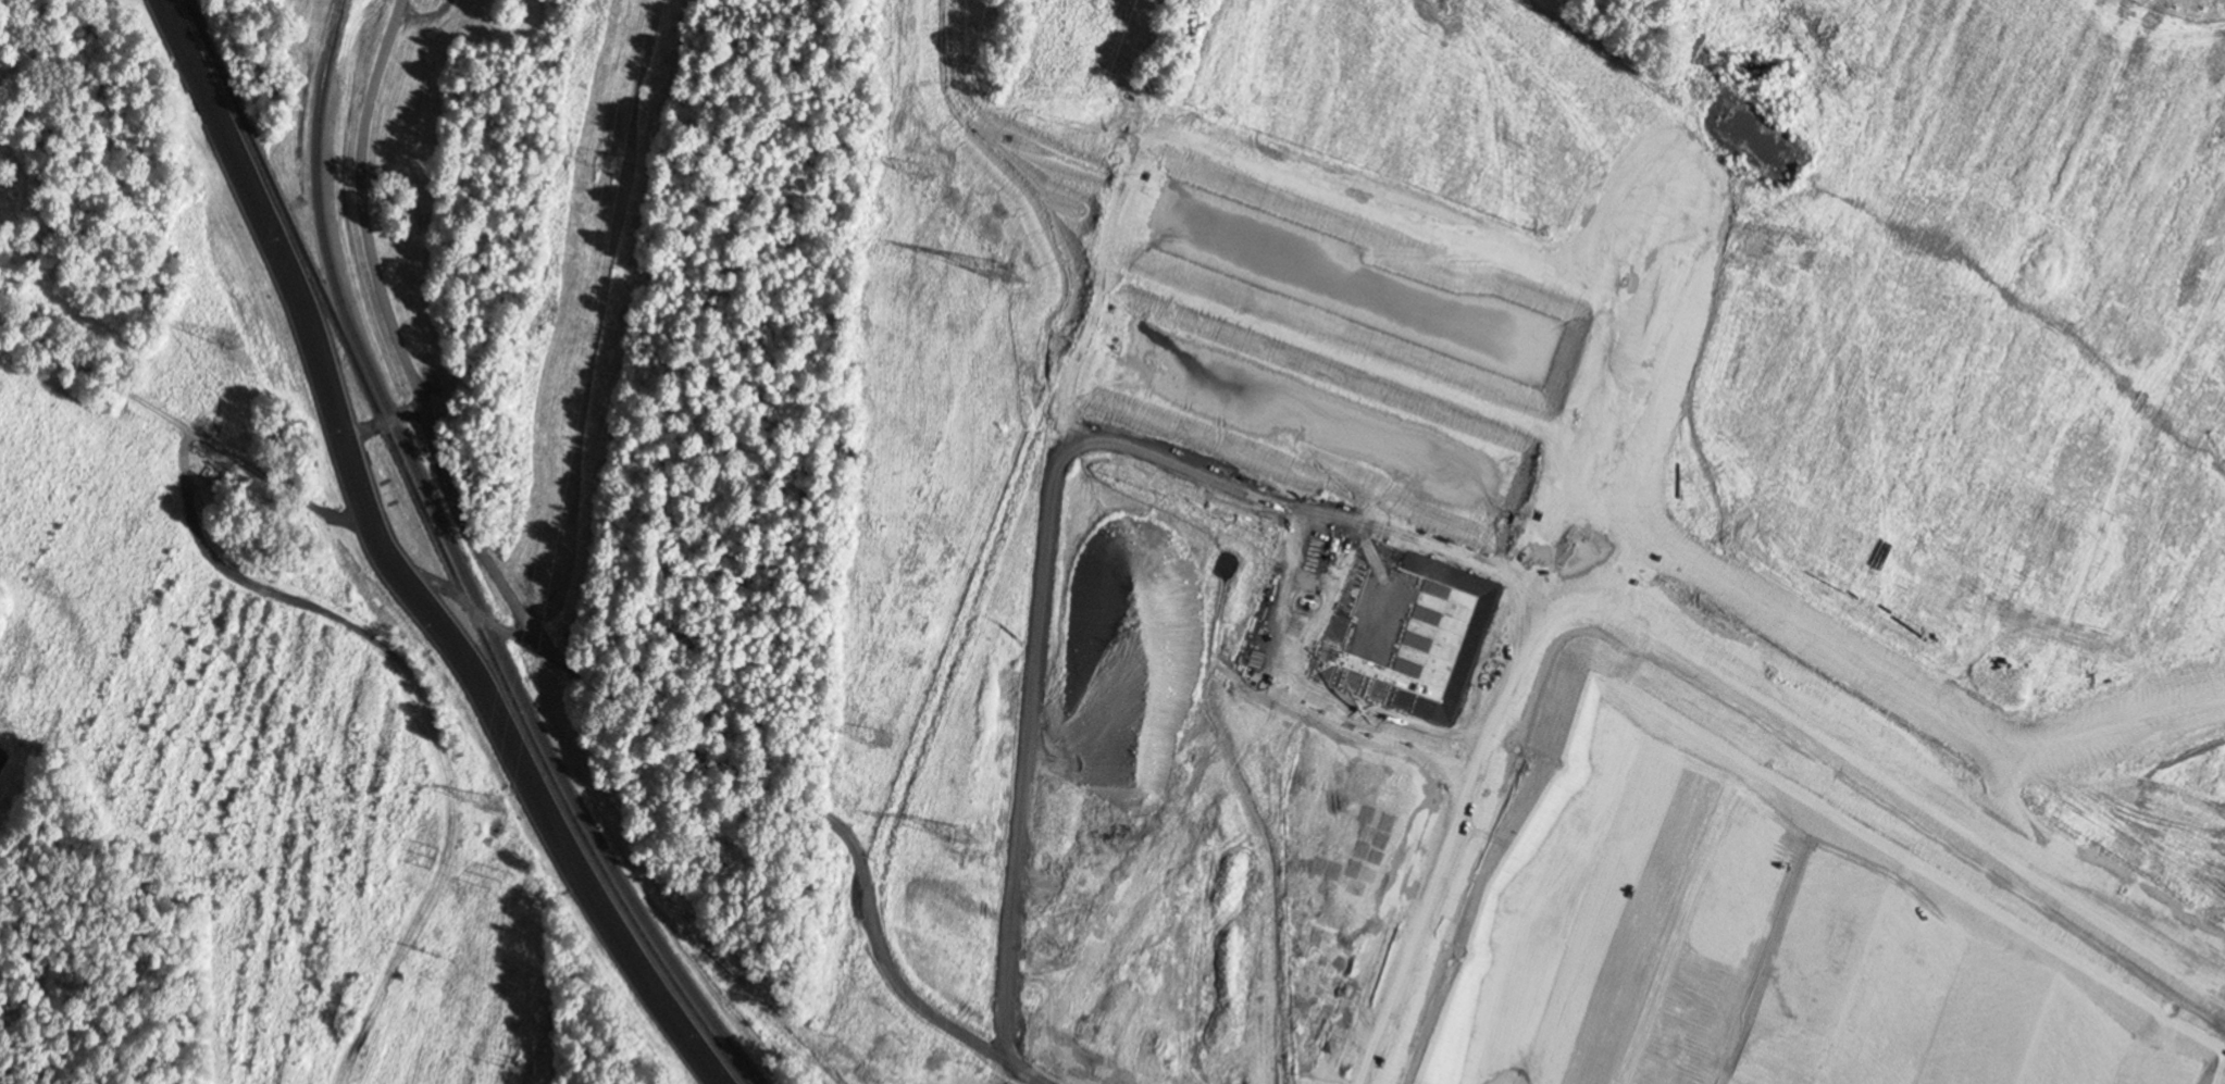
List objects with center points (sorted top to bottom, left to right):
power tower: (607, 162)
power tower: (922, 172)
power tower: (1004, 273)
power tower: (225, 340)
railway: (443, 556)
railway: (460, 566)
road: (567, 663)
power tower: (880, 740)
power tower: (493, 806)
power tower: (961, 837)
power tower: (437, 858)
power tower: (499, 882)

